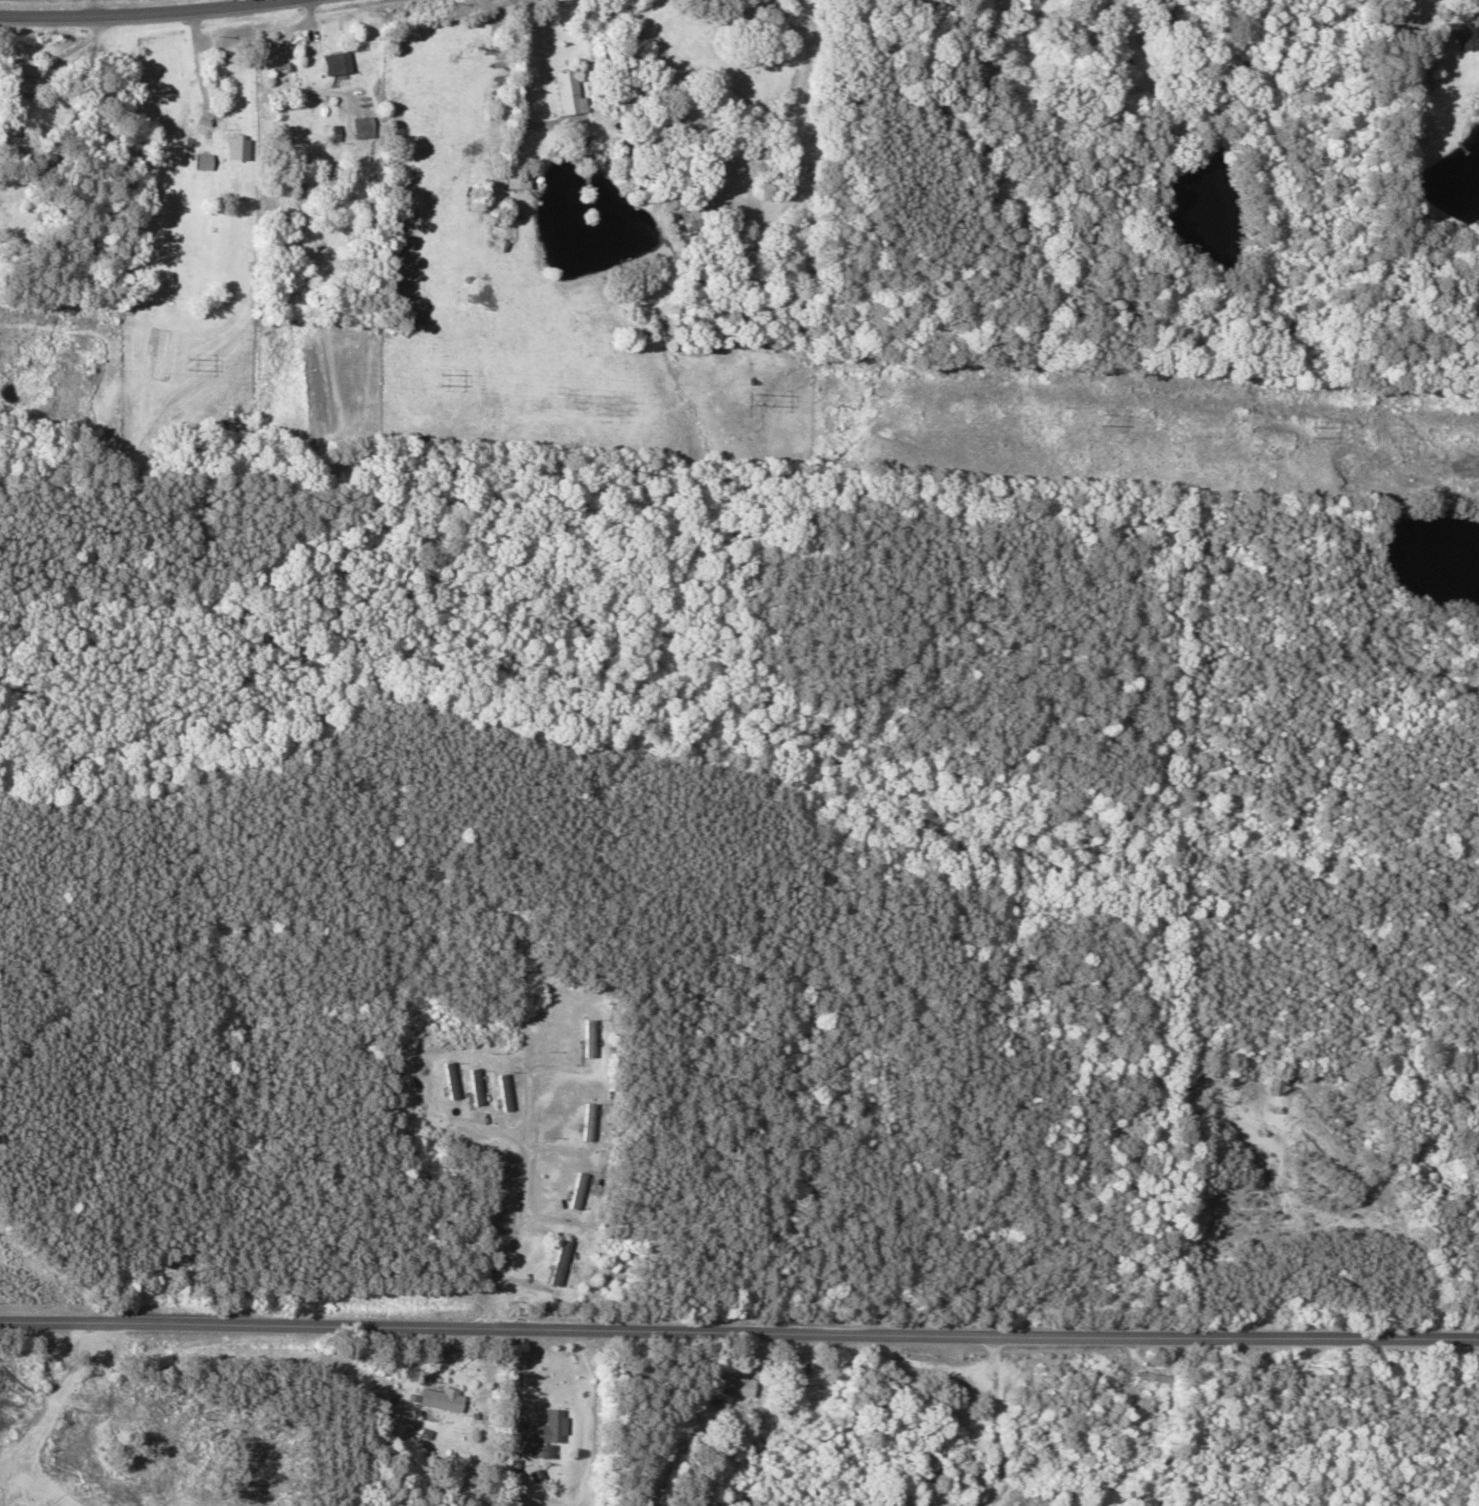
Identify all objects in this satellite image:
road: (136, 12)
building: (1028, 13)
building: (1461, 36)
building: (613, 60)
building: (1435, 61)
building: (337, 63)
building: (23, 86)
building: (570, 92)
building: (364, 128)
building: (243, 145)
building: (639, 153)
building: (204, 162)
building: (518, 183)
building: (698, 218)
building: (560, 1262)
road: (739, 1313)
building: (727, 1386)
building: (1155, 1393)
building: (450, 1400)
building: (783, 1400)
road: (411, 1404)
building: (554, 1426)

